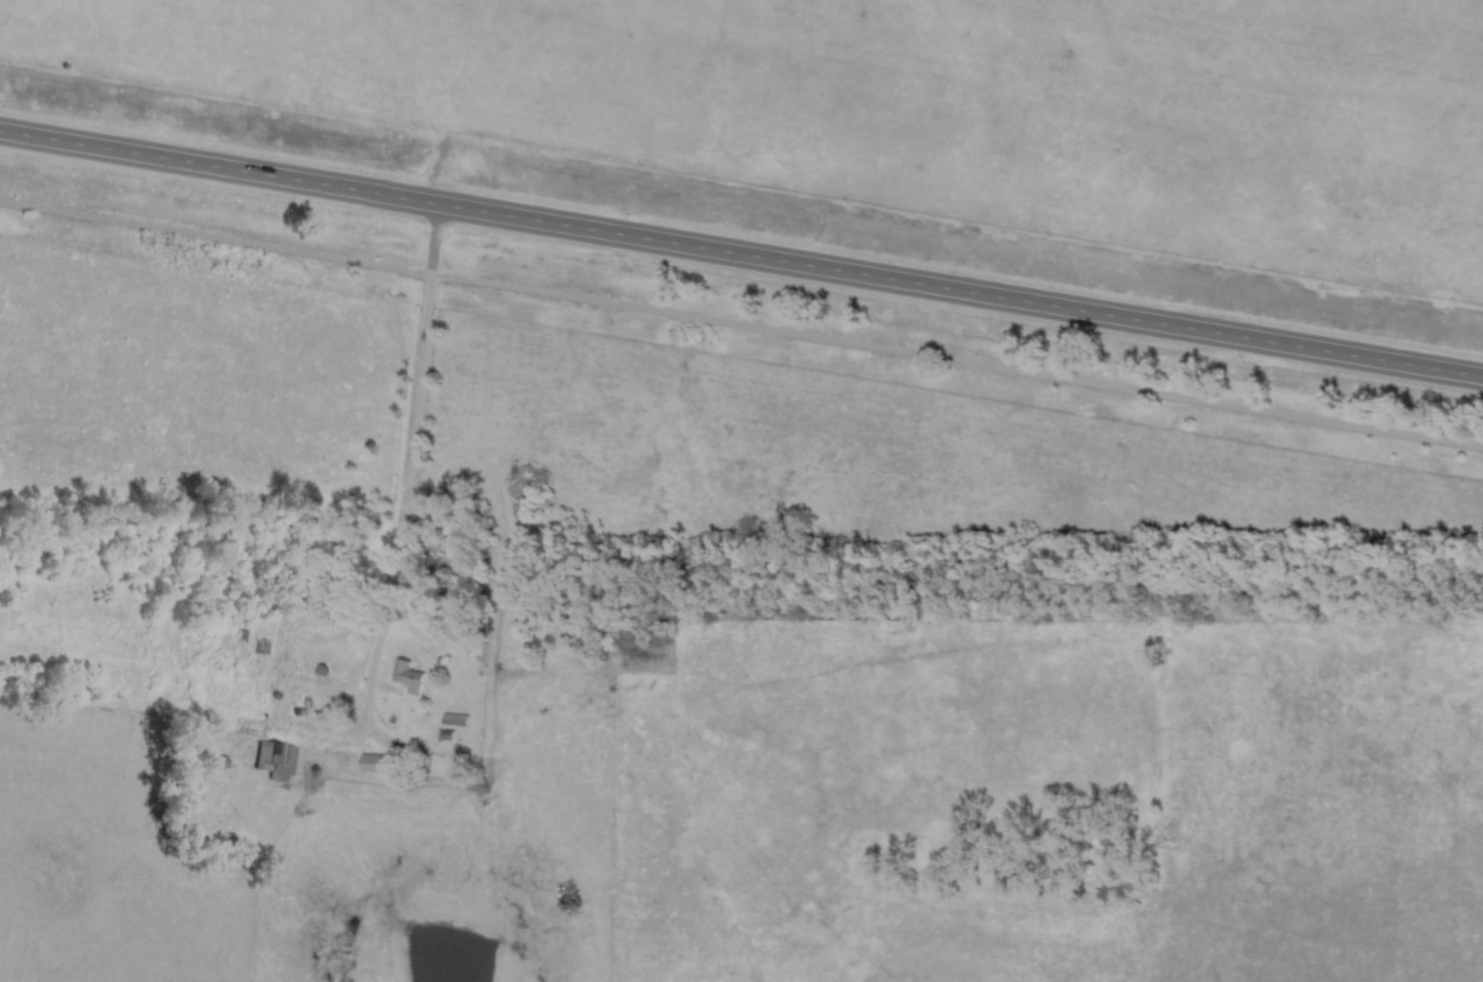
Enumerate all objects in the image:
road: (741, 253)
road: (741, 323)
road: (416, 440)
building: (263, 648)
building: (409, 677)
building: (492, 735)
building: (277, 761)
building: (374, 764)

